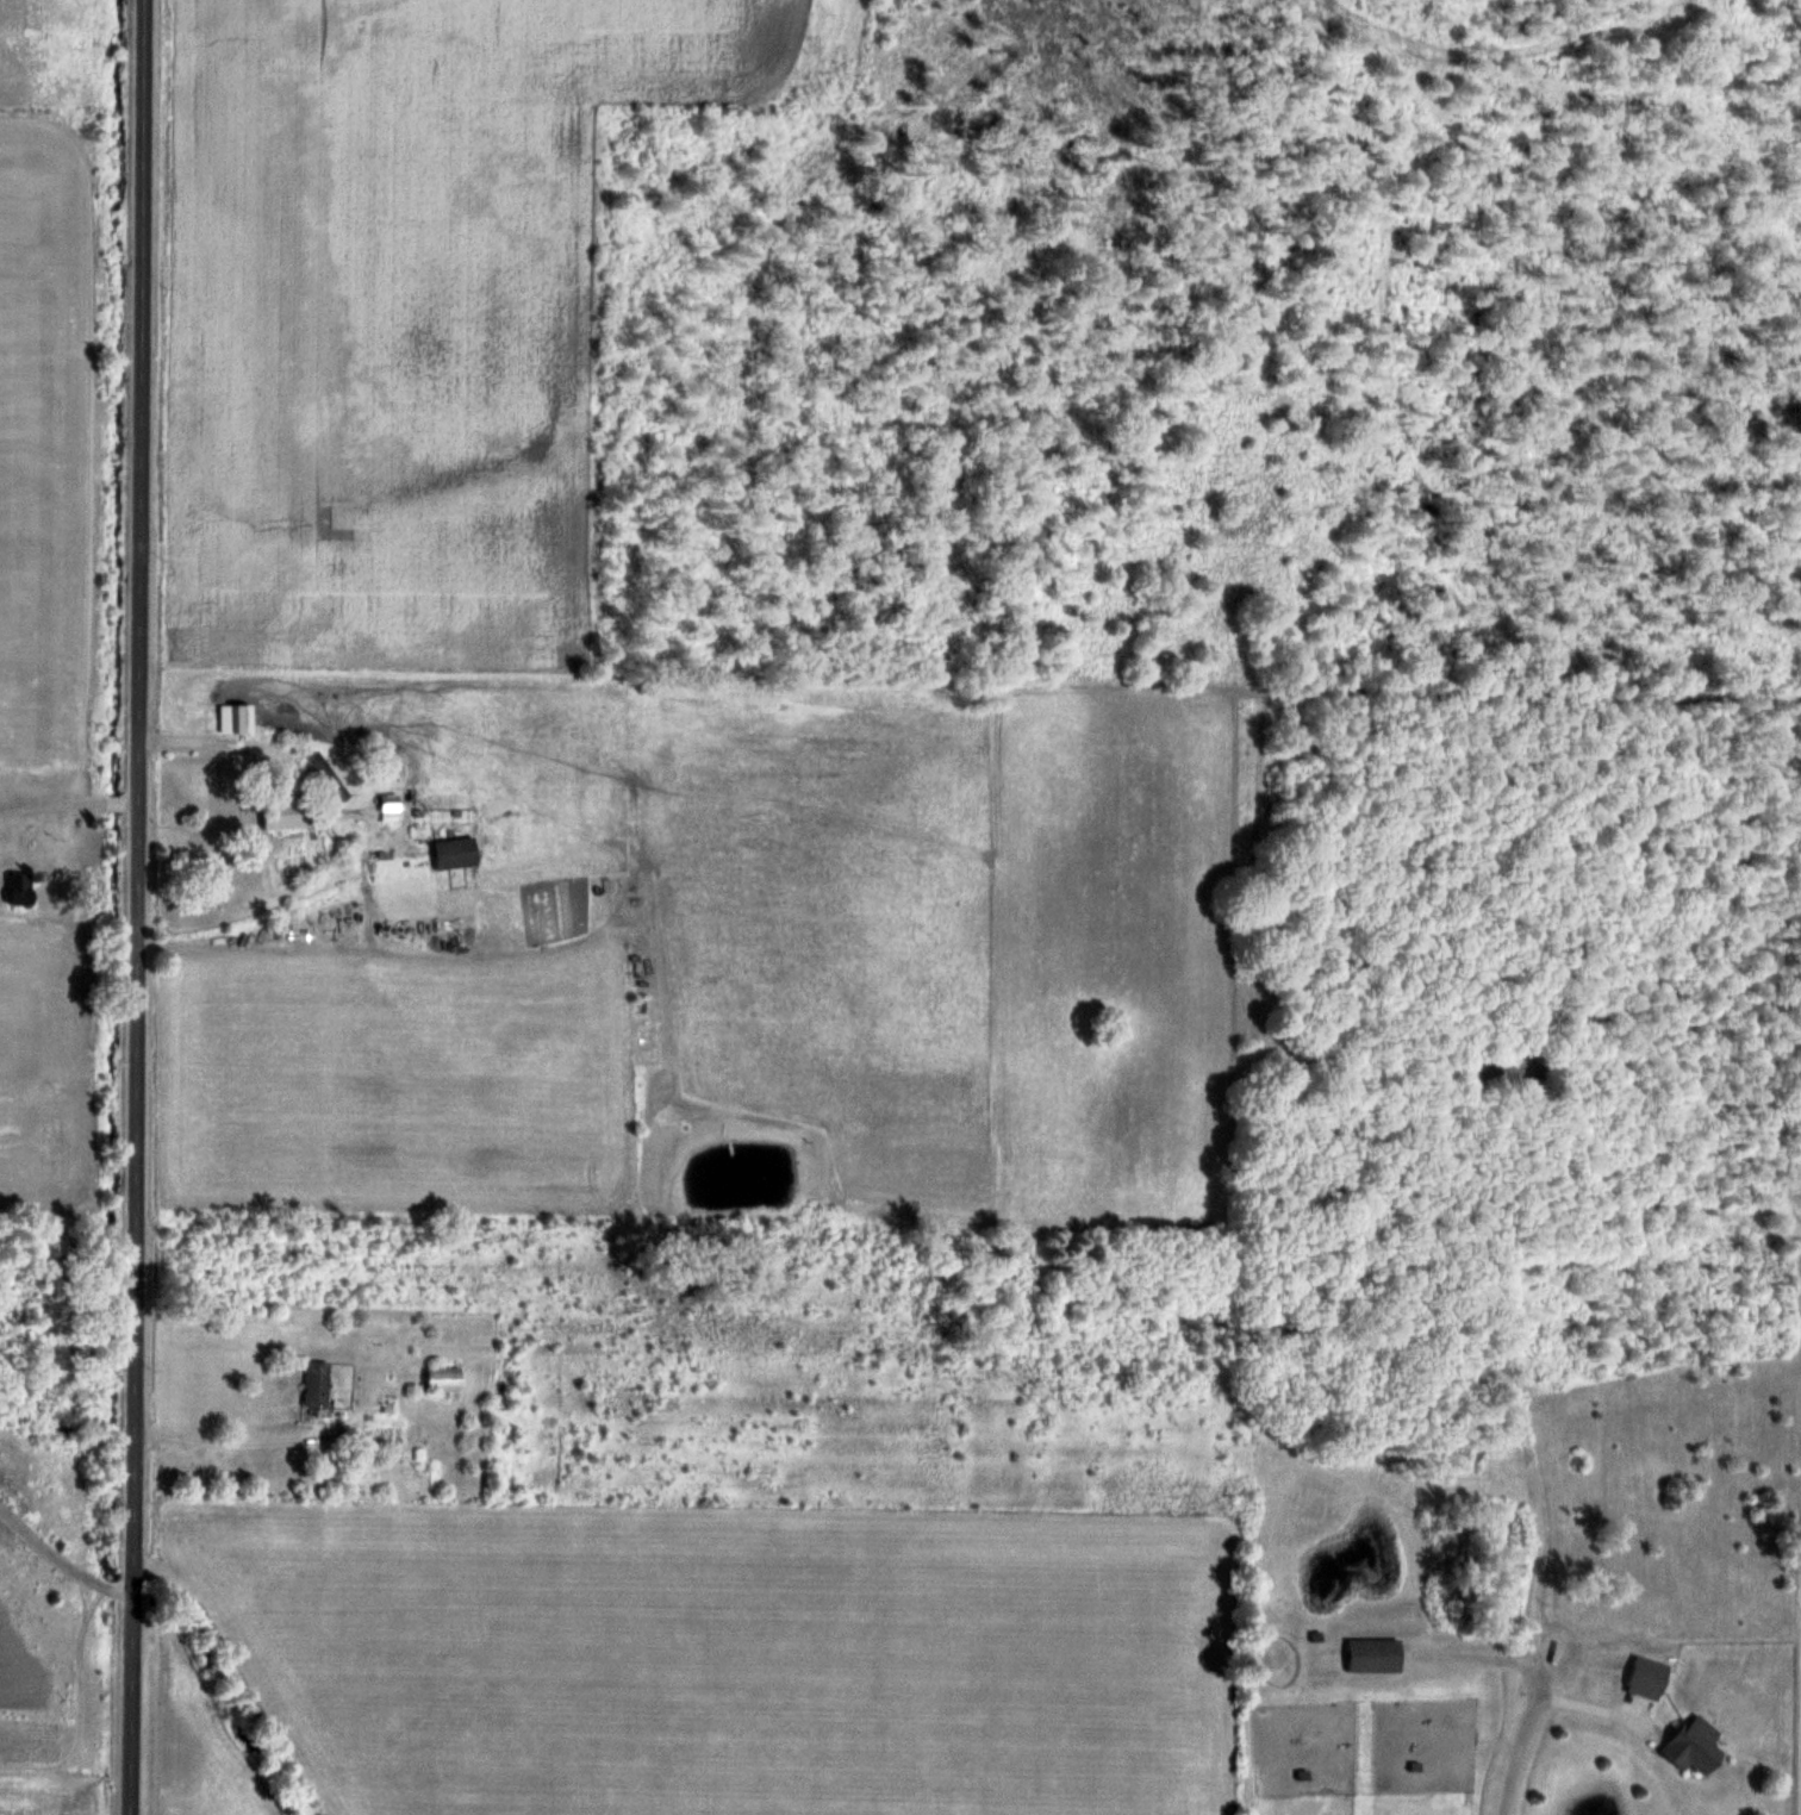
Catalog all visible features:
building: (237, 718)
road: (206, 740)
building: (330, 776)
building: (286, 815)
building: (456, 853)
building: (21, 890)
road: (143, 908)
building: (444, 1378)
building: (318, 1384)
road: (225, 1443)
road: (60, 1565)
building: (1376, 1655)
building: (1650, 1678)
building: (1697, 1746)
road: (1520, 1754)

